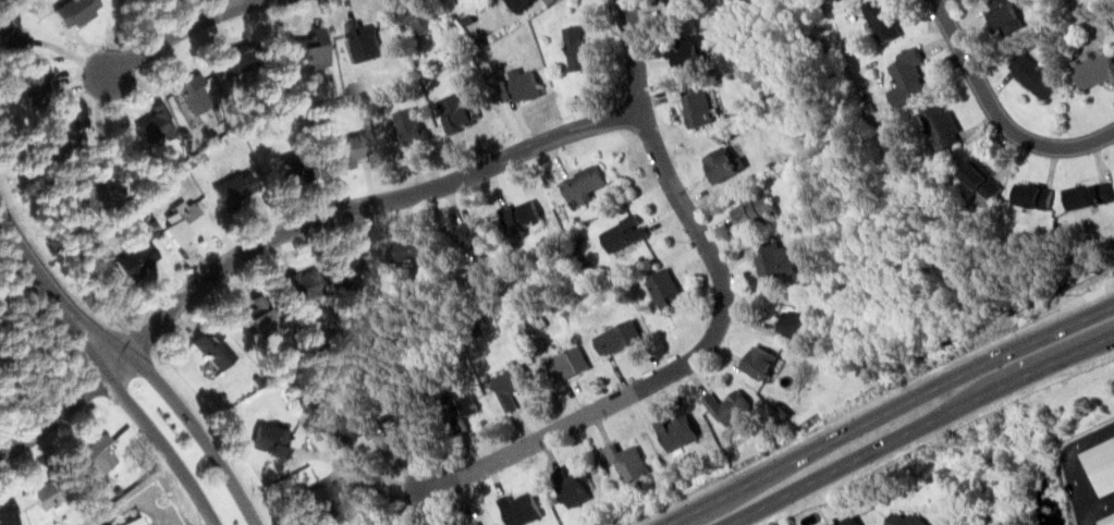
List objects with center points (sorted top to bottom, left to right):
building: (672, 1)
building: (518, 3)
building: (71, 11)
building: (416, 13)
building: (881, 19)
building: (1002, 20)
road: (180, 27)
building: (10, 29)
building: (363, 35)
building: (573, 40)
building: (308, 48)
building: (681, 49)
building: (233, 58)
building: (1095, 65)
building: (908, 74)
building: (1033, 76)
building: (33, 81)
building: (516, 87)
building: (189, 93)
building: (697, 107)
building: (456, 109)
road: (996, 113)
building: (149, 124)
building: (408, 126)
building: (56, 129)
building: (941, 130)
building: (57, 147)
building: (345, 151)
building: (720, 162)
building: (294, 166)
building: (577, 181)
building: (981, 182)
building: (234, 185)
building: (91, 186)
building: (1086, 191)
building: (1029, 195)
road: (369, 205)
building: (746, 207)
building: (522, 213)
building: (179, 223)
building: (619, 230)
building: (474, 235)
building: (401, 249)
building: (134, 254)
building: (772, 262)
building: (343, 266)
road: (39, 268)
building: (304, 282)
building: (659, 282)
building: (786, 319)
road: (715, 323)
building: (258, 325)
road: (99, 333)
building: (614, 334)
building: (215, 355)
building: (563, 361)
building: (756, 362)
building: (506, 387)
road: (869, 403)
road: (65, 404)
building: (722, 407)
building: (457, 411)
road: (884, 411)
road: (915, 426)
building: (341, 431)
building: (672, 432)
building: (265, 441)
building: (101, 459)
building: (619, 462)
building: (1098, 464)
building: (565, 488)
building: (41, 497)
building: (317, 497)
road: (133, 502)
building: (7, 509)
building: (521, 509)
building: (906, 517)
building: (1105, 518)
building: (468, 521)
building: (840, 521)
building: (133, 522)

